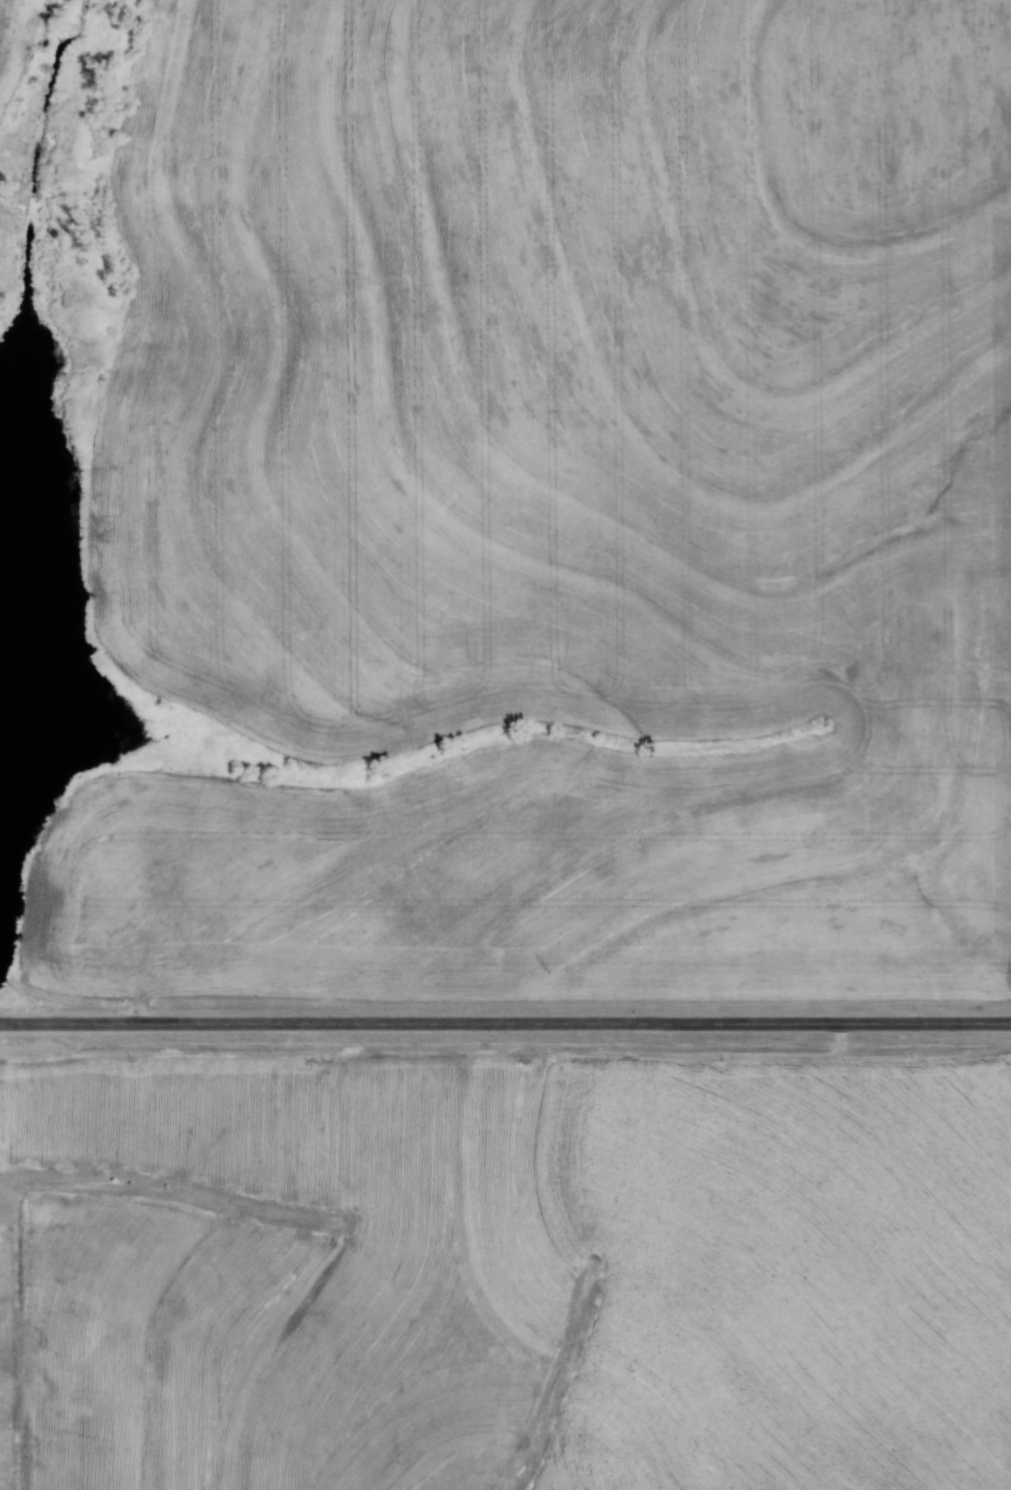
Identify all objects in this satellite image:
road: (505, 1028)

